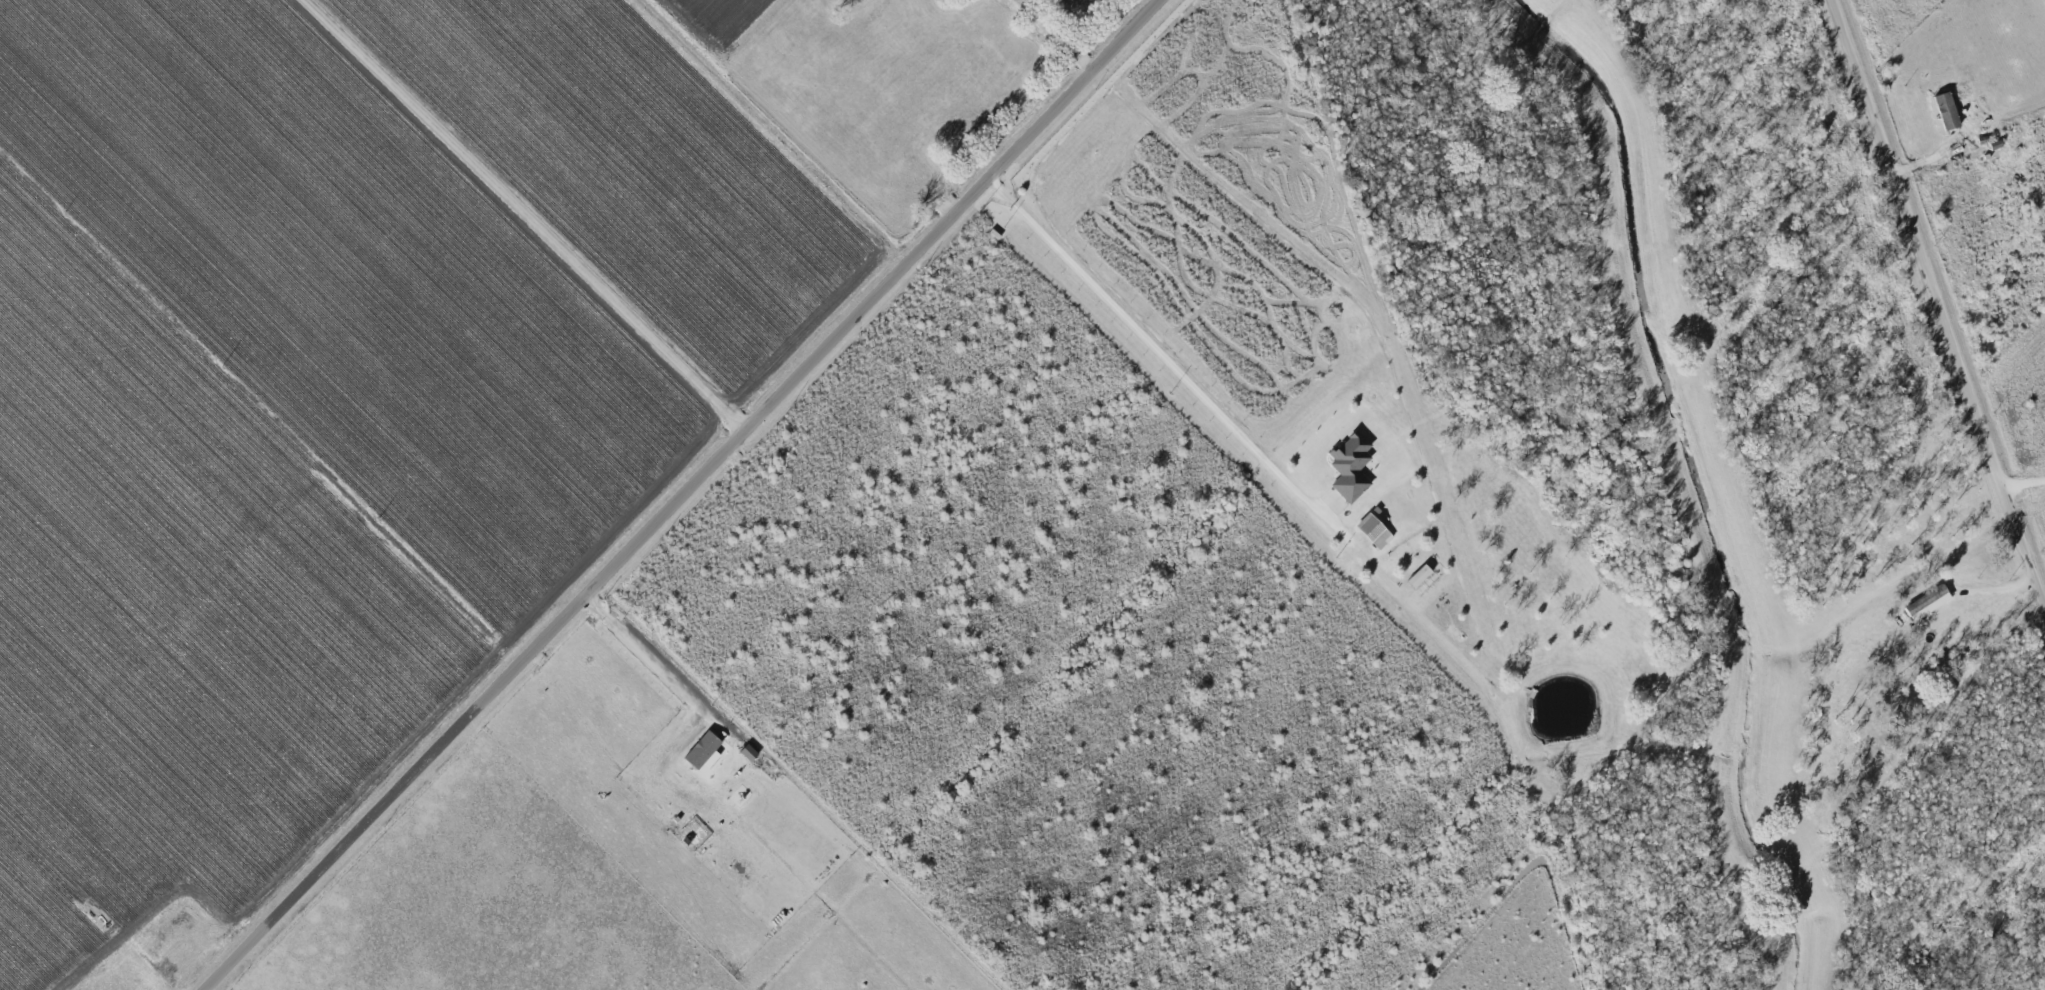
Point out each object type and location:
building: (1947, 111)
road: (786, 129)
road: (526, 215)
road: (1940, 296)
road: (1156, 347)
road: (1426, 375)
road: (259, 411)
building: (1351, 466)
road: (687, 495)
building: (1374, 530)
building: (1420, 575)
building: (1918, 604)
road: (649, 658)
building: (704, 751)
building: (749, 752)

